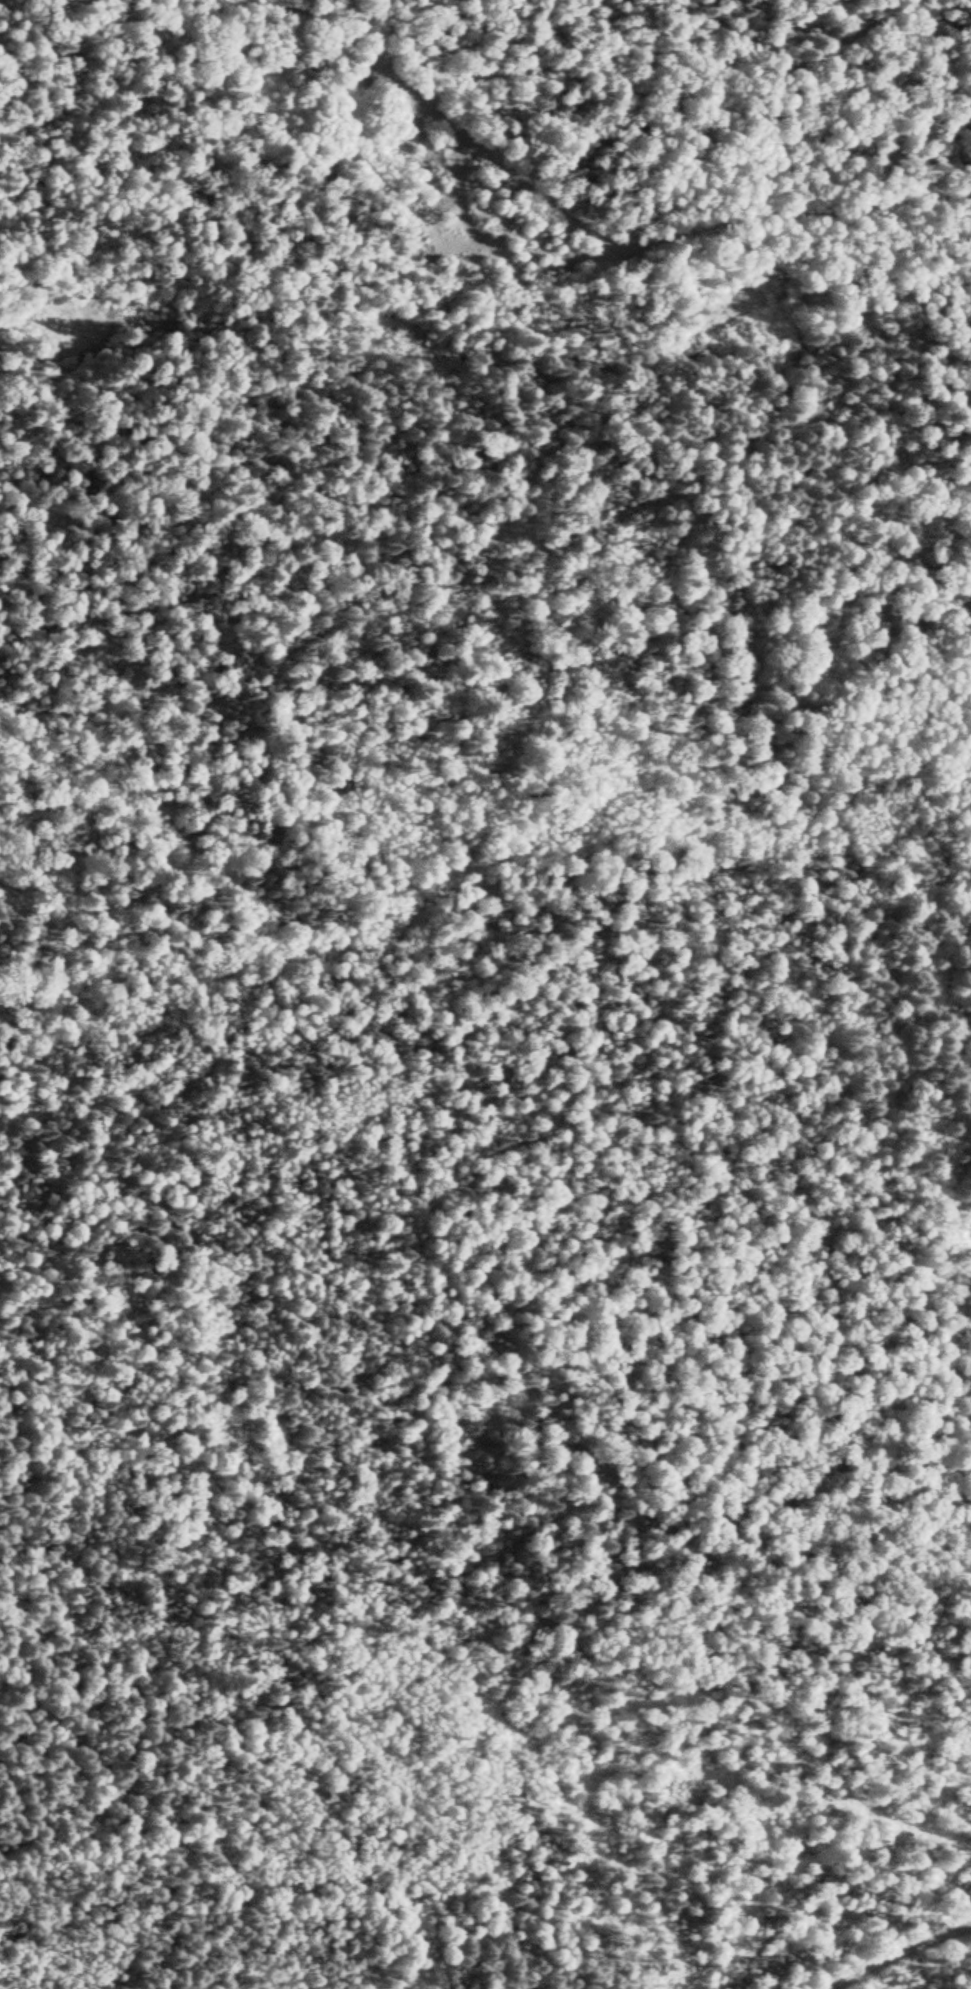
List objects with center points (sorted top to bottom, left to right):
road: (541, 253)
road: (899, 1956)

